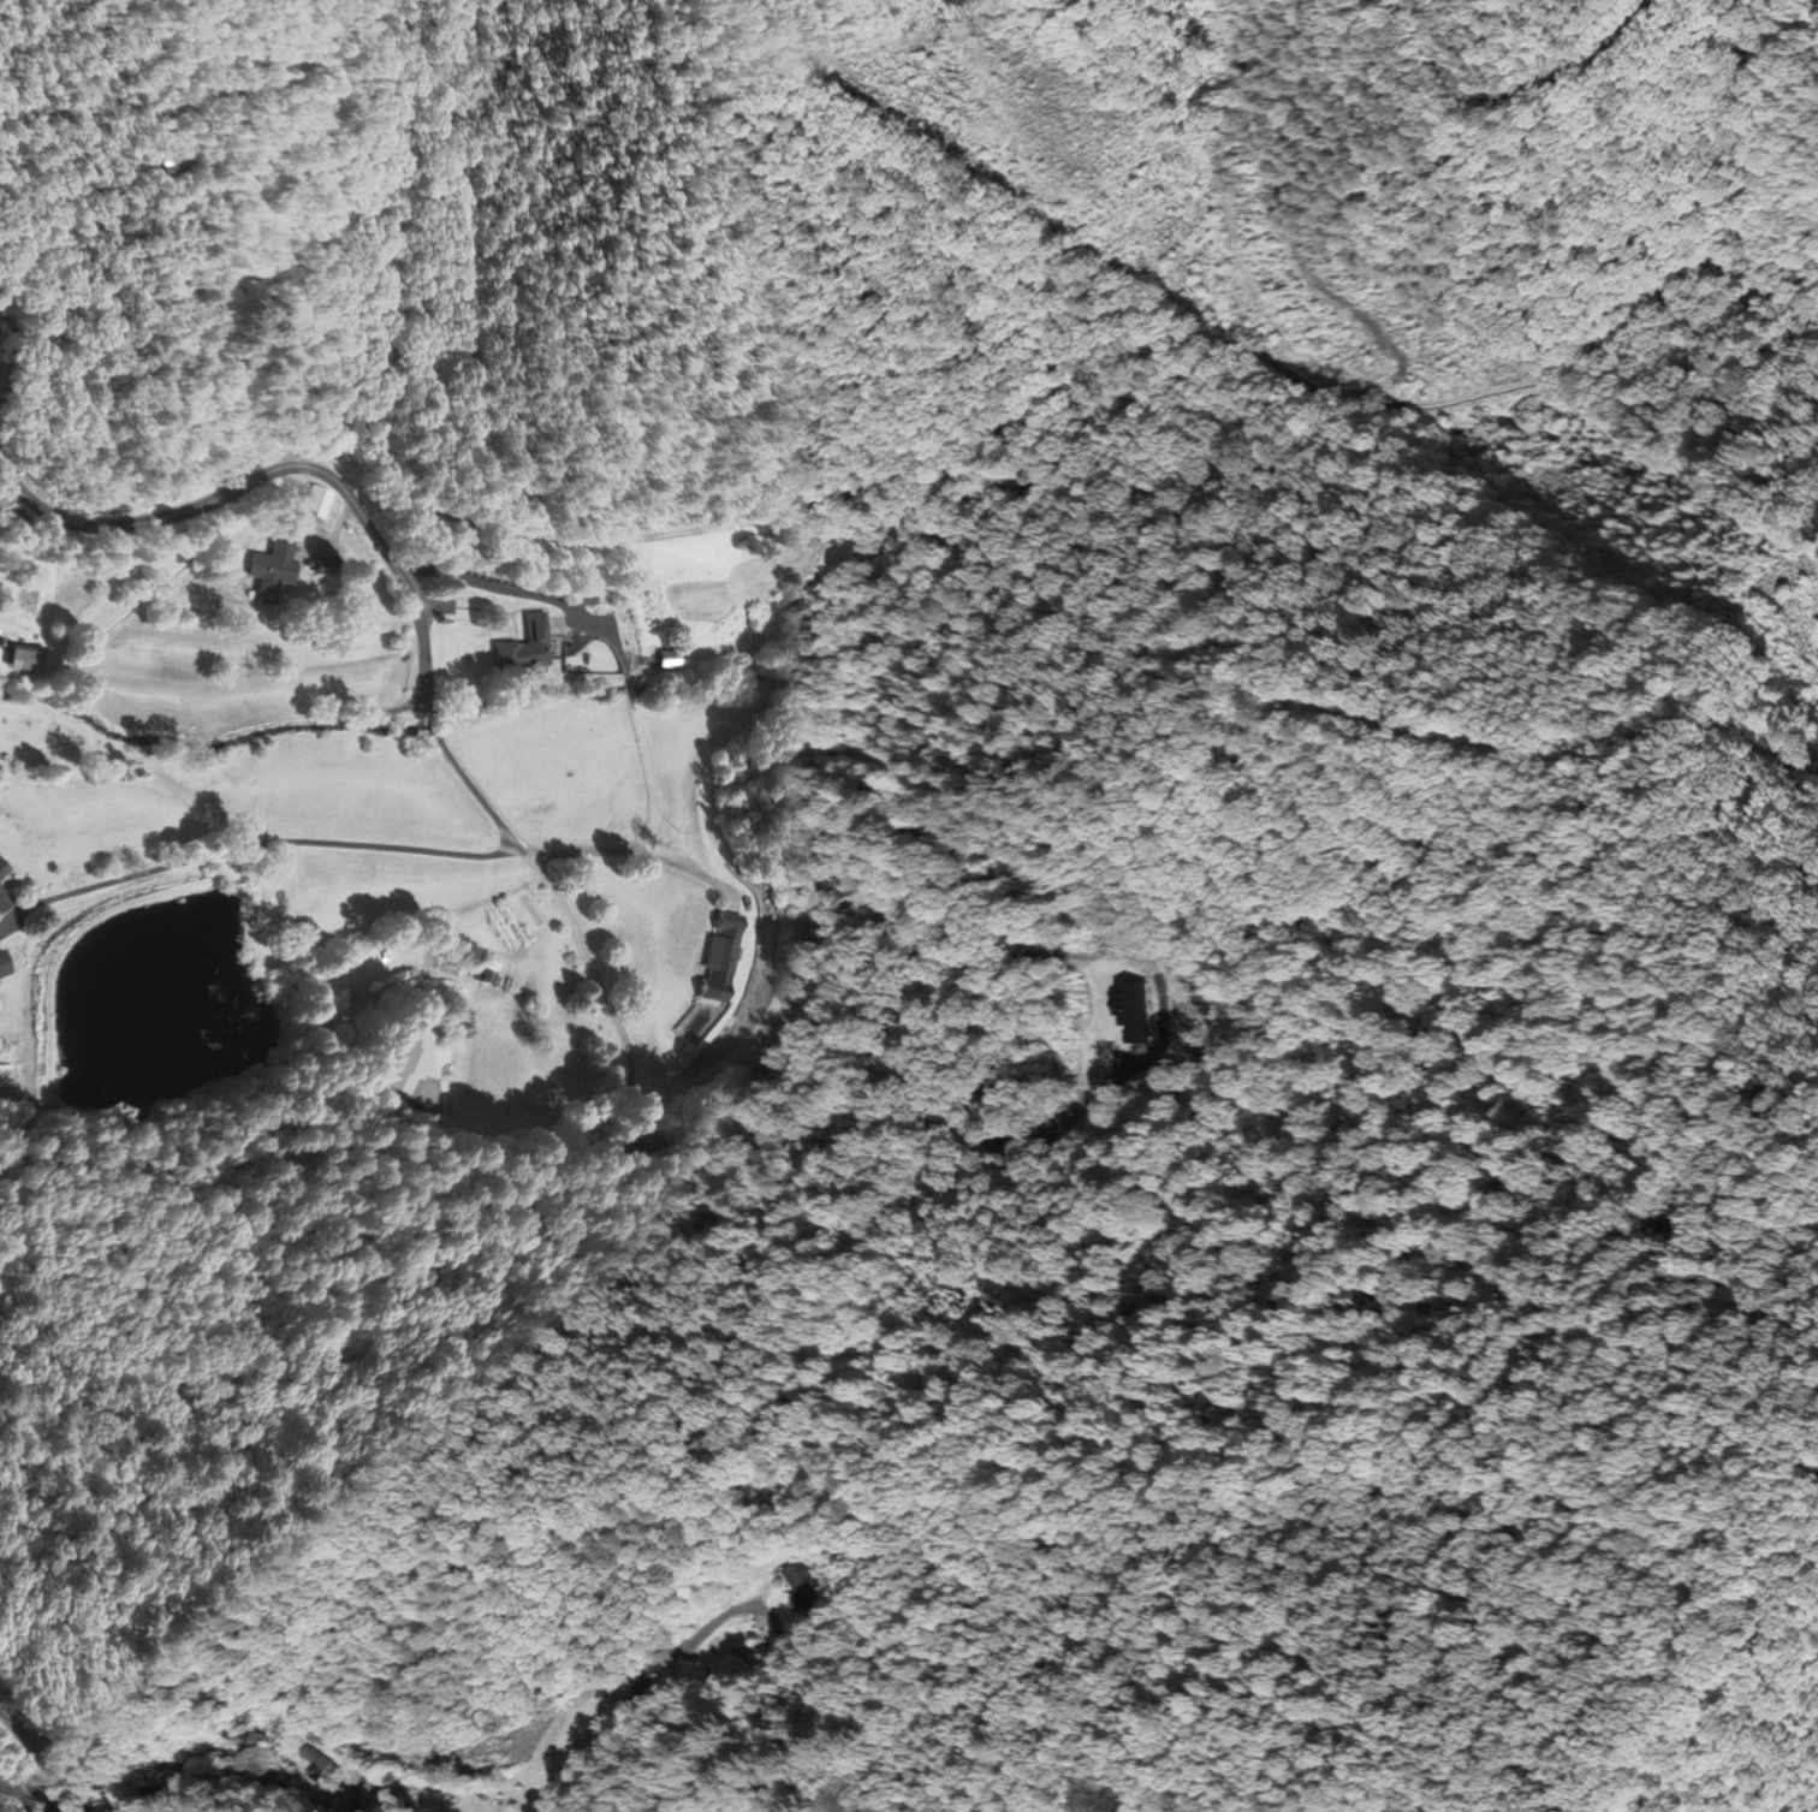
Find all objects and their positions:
road: (398, 253)
road: (186, 304)
road: (786, 343)
road: (521, 354)
road: (459, 458)
road: (951, 473)
road: (280, 477)
building: (317, 504)
building: (275, 568)
building: (528, 648)
building: (26, 661)
building: (669, 661)
road: (435, 723)
building: (724, 961)
building: (1136, 1012)
road: (620, 1017)
building: (409, 1064)
building: (427, 1097)
road: (46, 1739)
building: (321, 1769)

